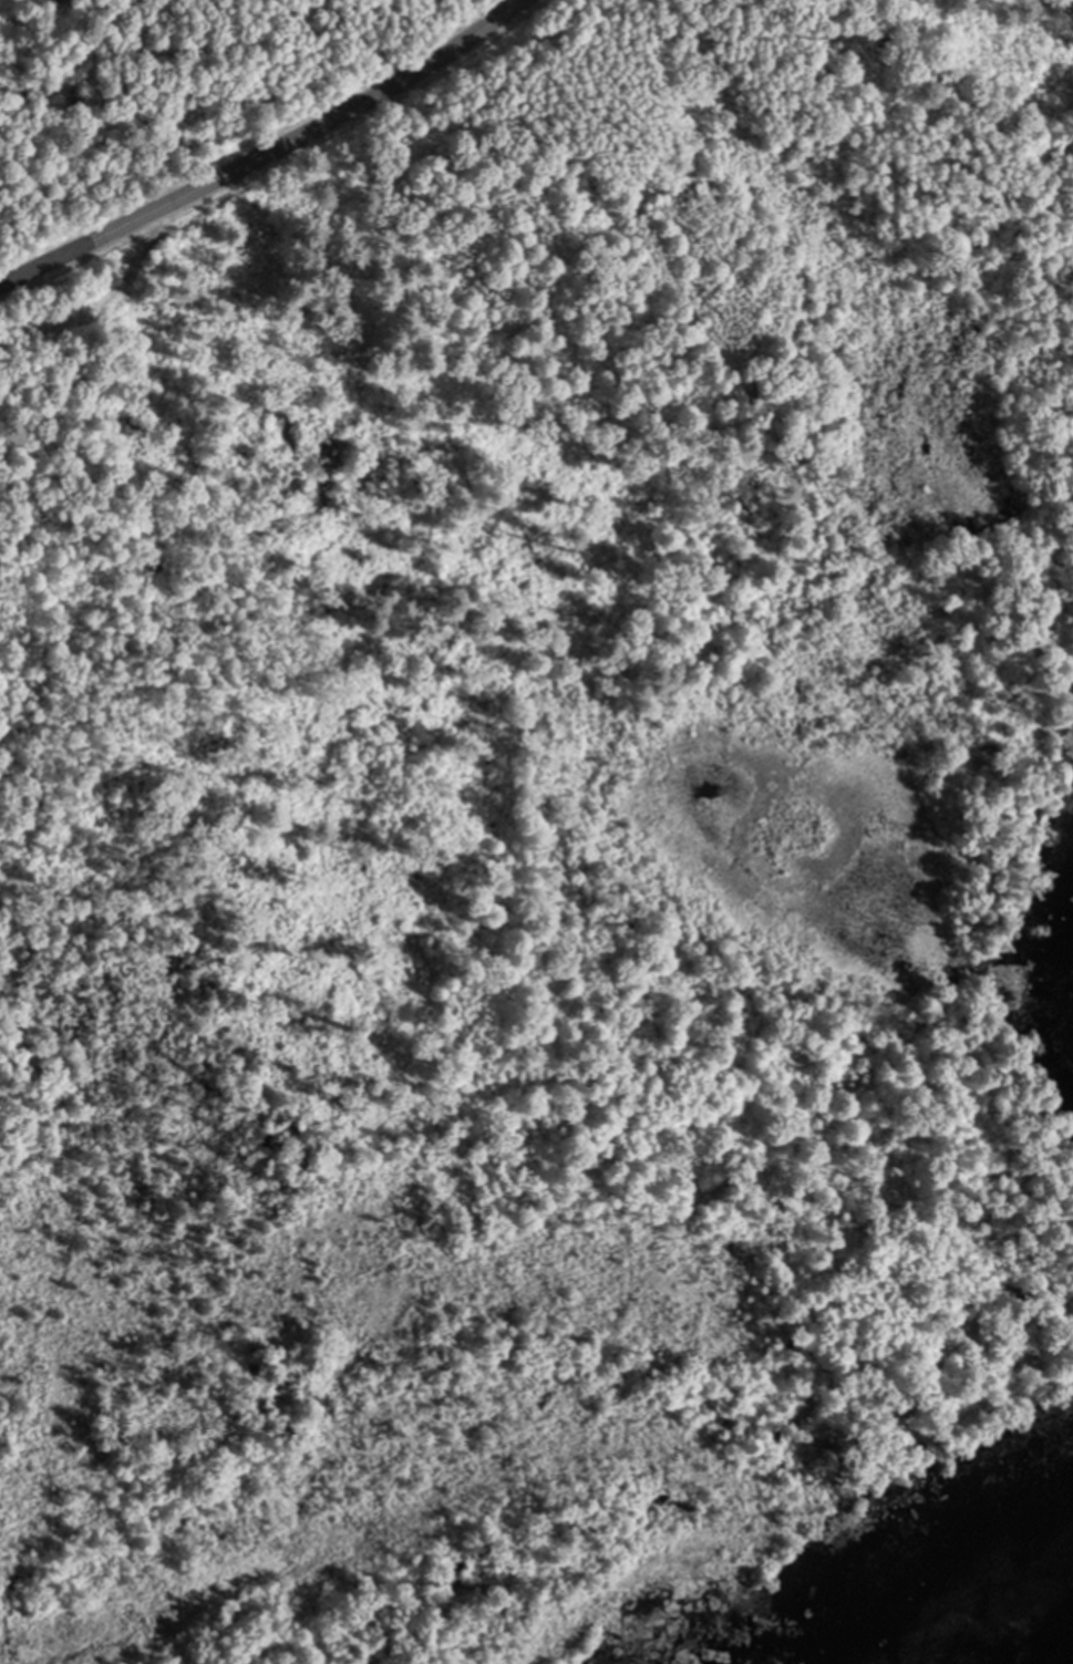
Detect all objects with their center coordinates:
road: (265, 149)

